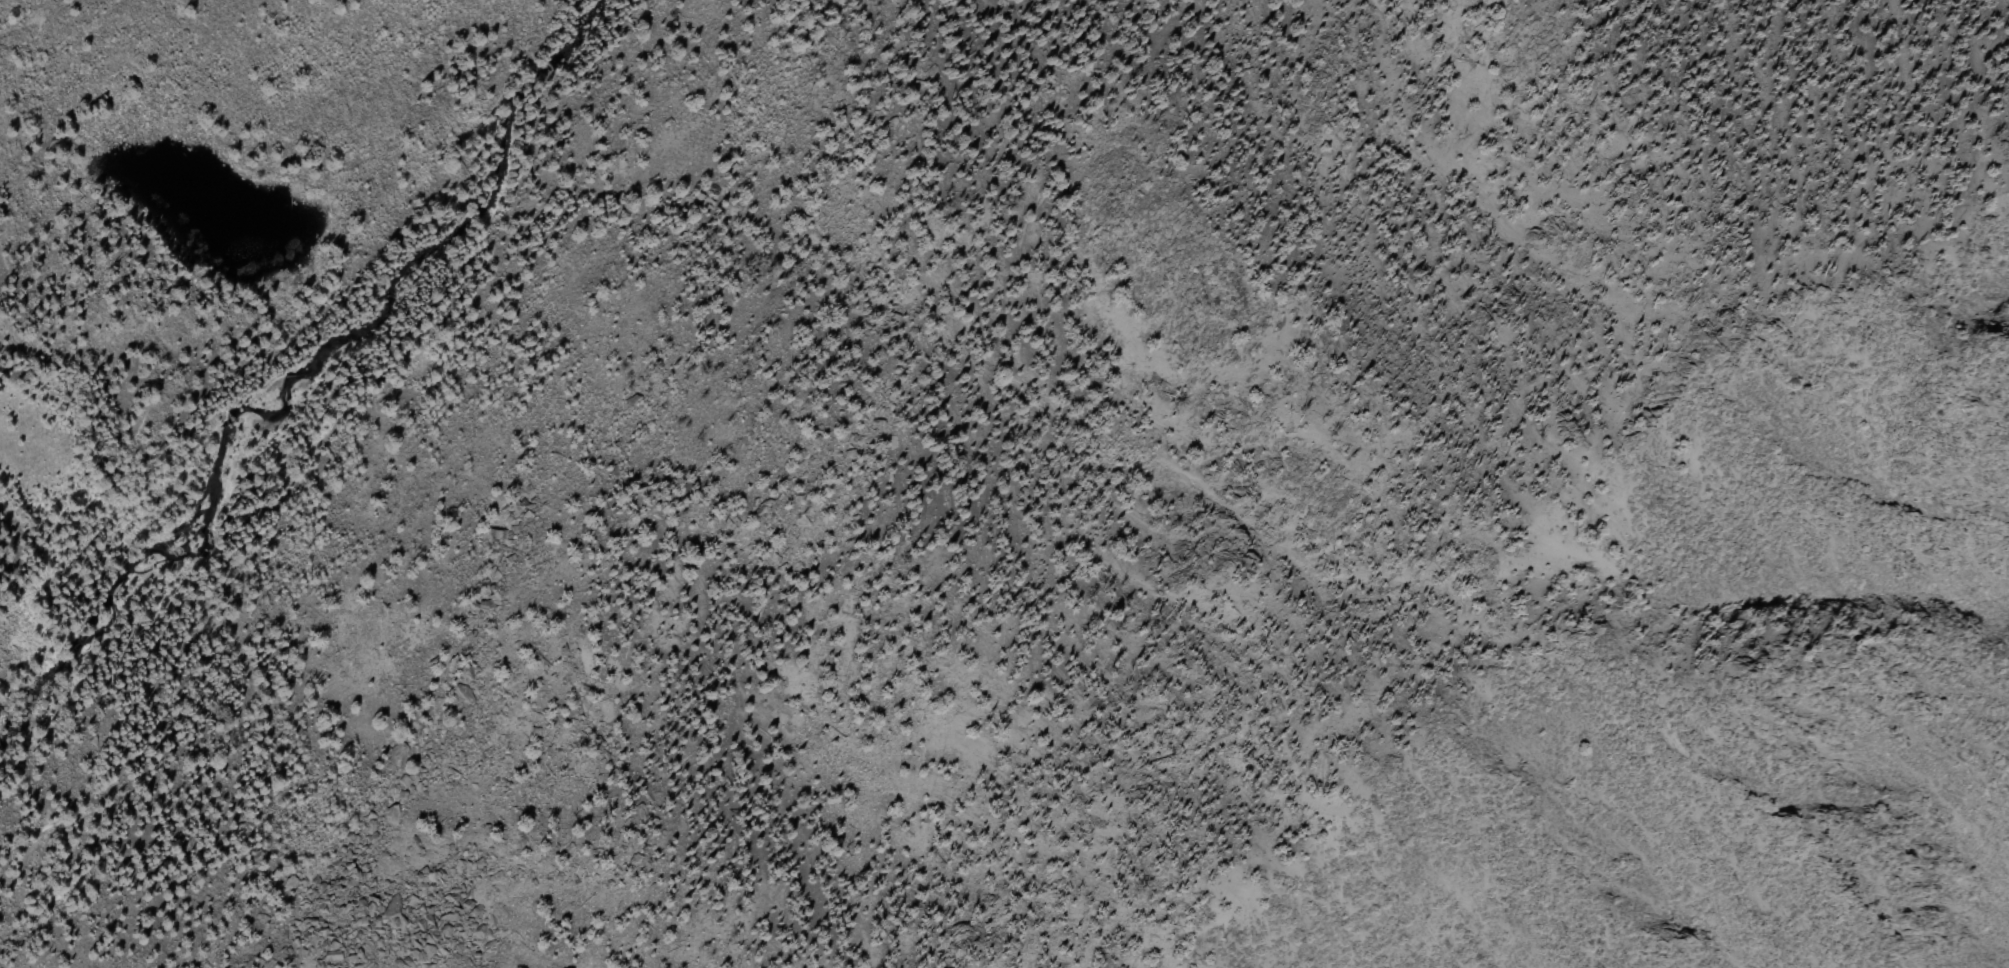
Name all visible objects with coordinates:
road: (320, 450)

